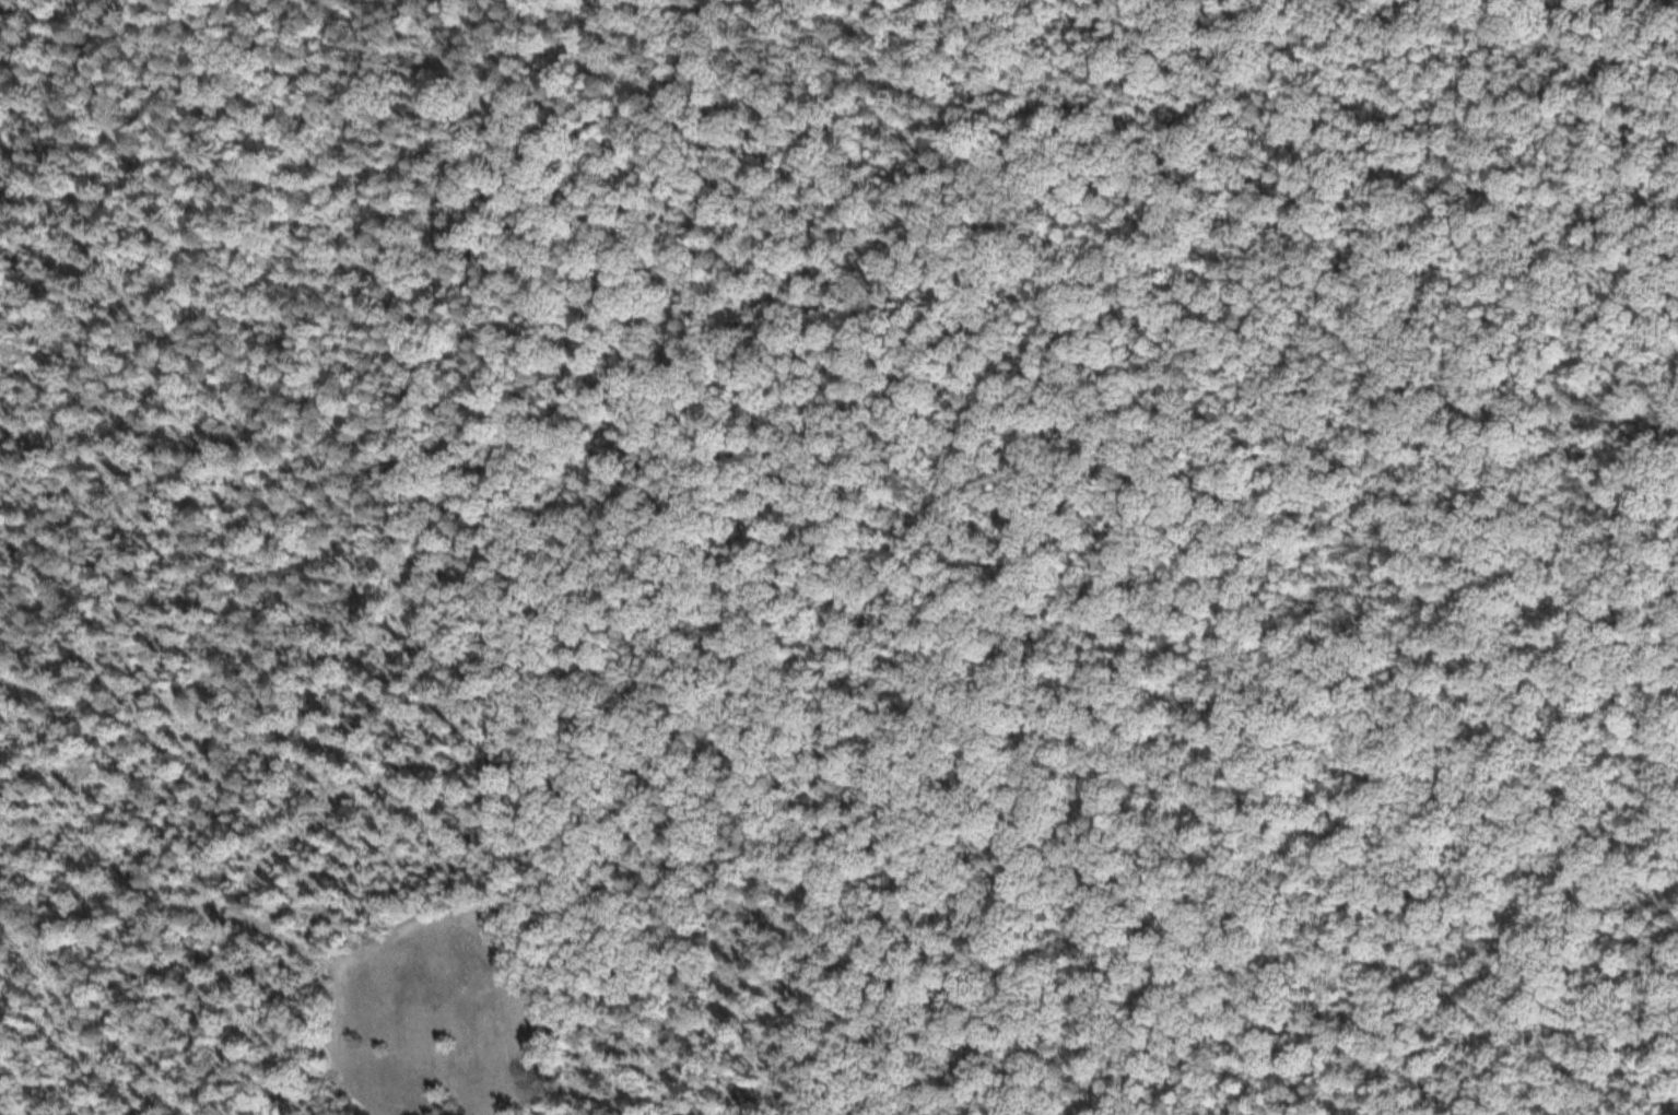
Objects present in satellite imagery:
road: (190, 524)
road: (853, 547)

